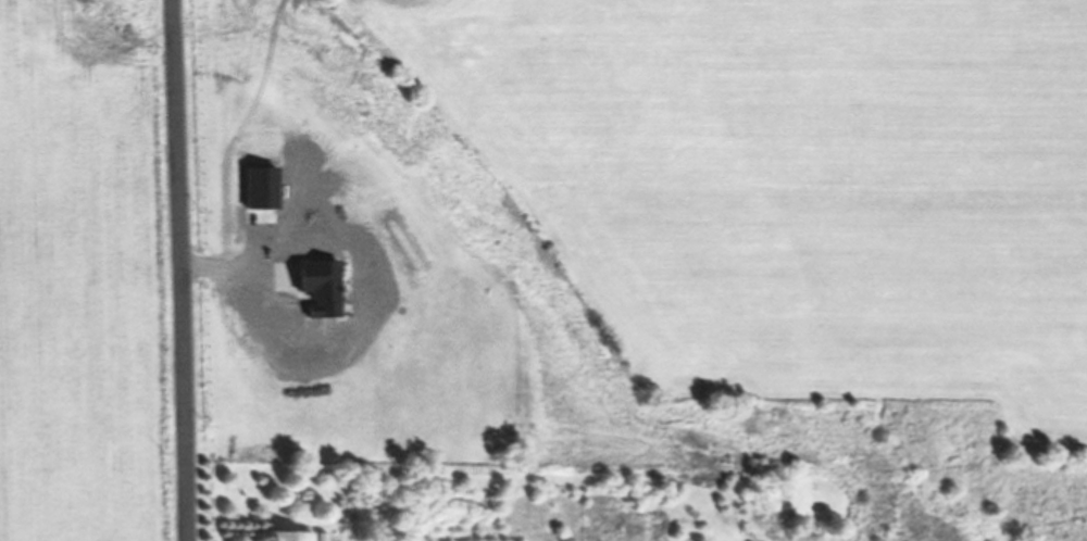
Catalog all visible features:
road: (176, 270)
building: (312, 292)
building: (302, 533)

